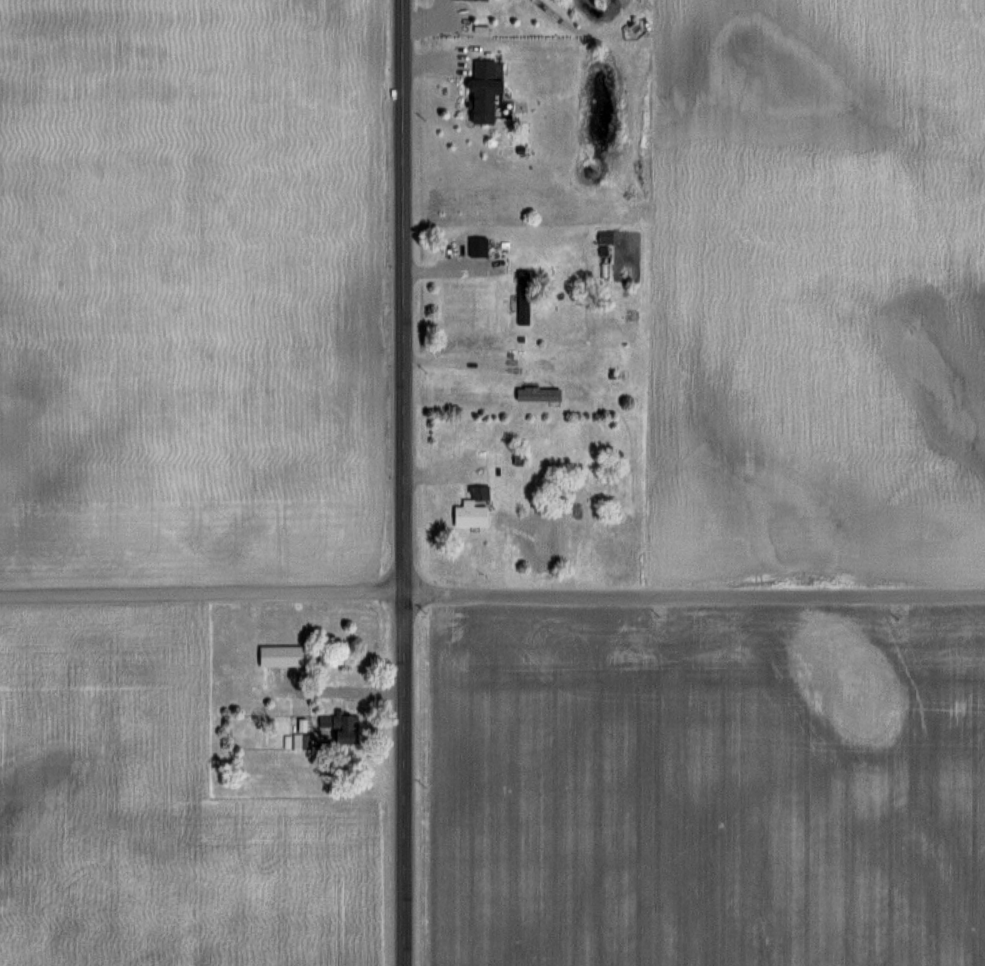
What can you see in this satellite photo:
building: (482, 89)
building: (604, 236)
road: (402, 296)
building: (523, 297)
building: (537, 394)
building: (473, 499)
road: (694, 593)
road: (202, 594)
building: (282, 655)
building: (337, 725)
road: (404, 779)

